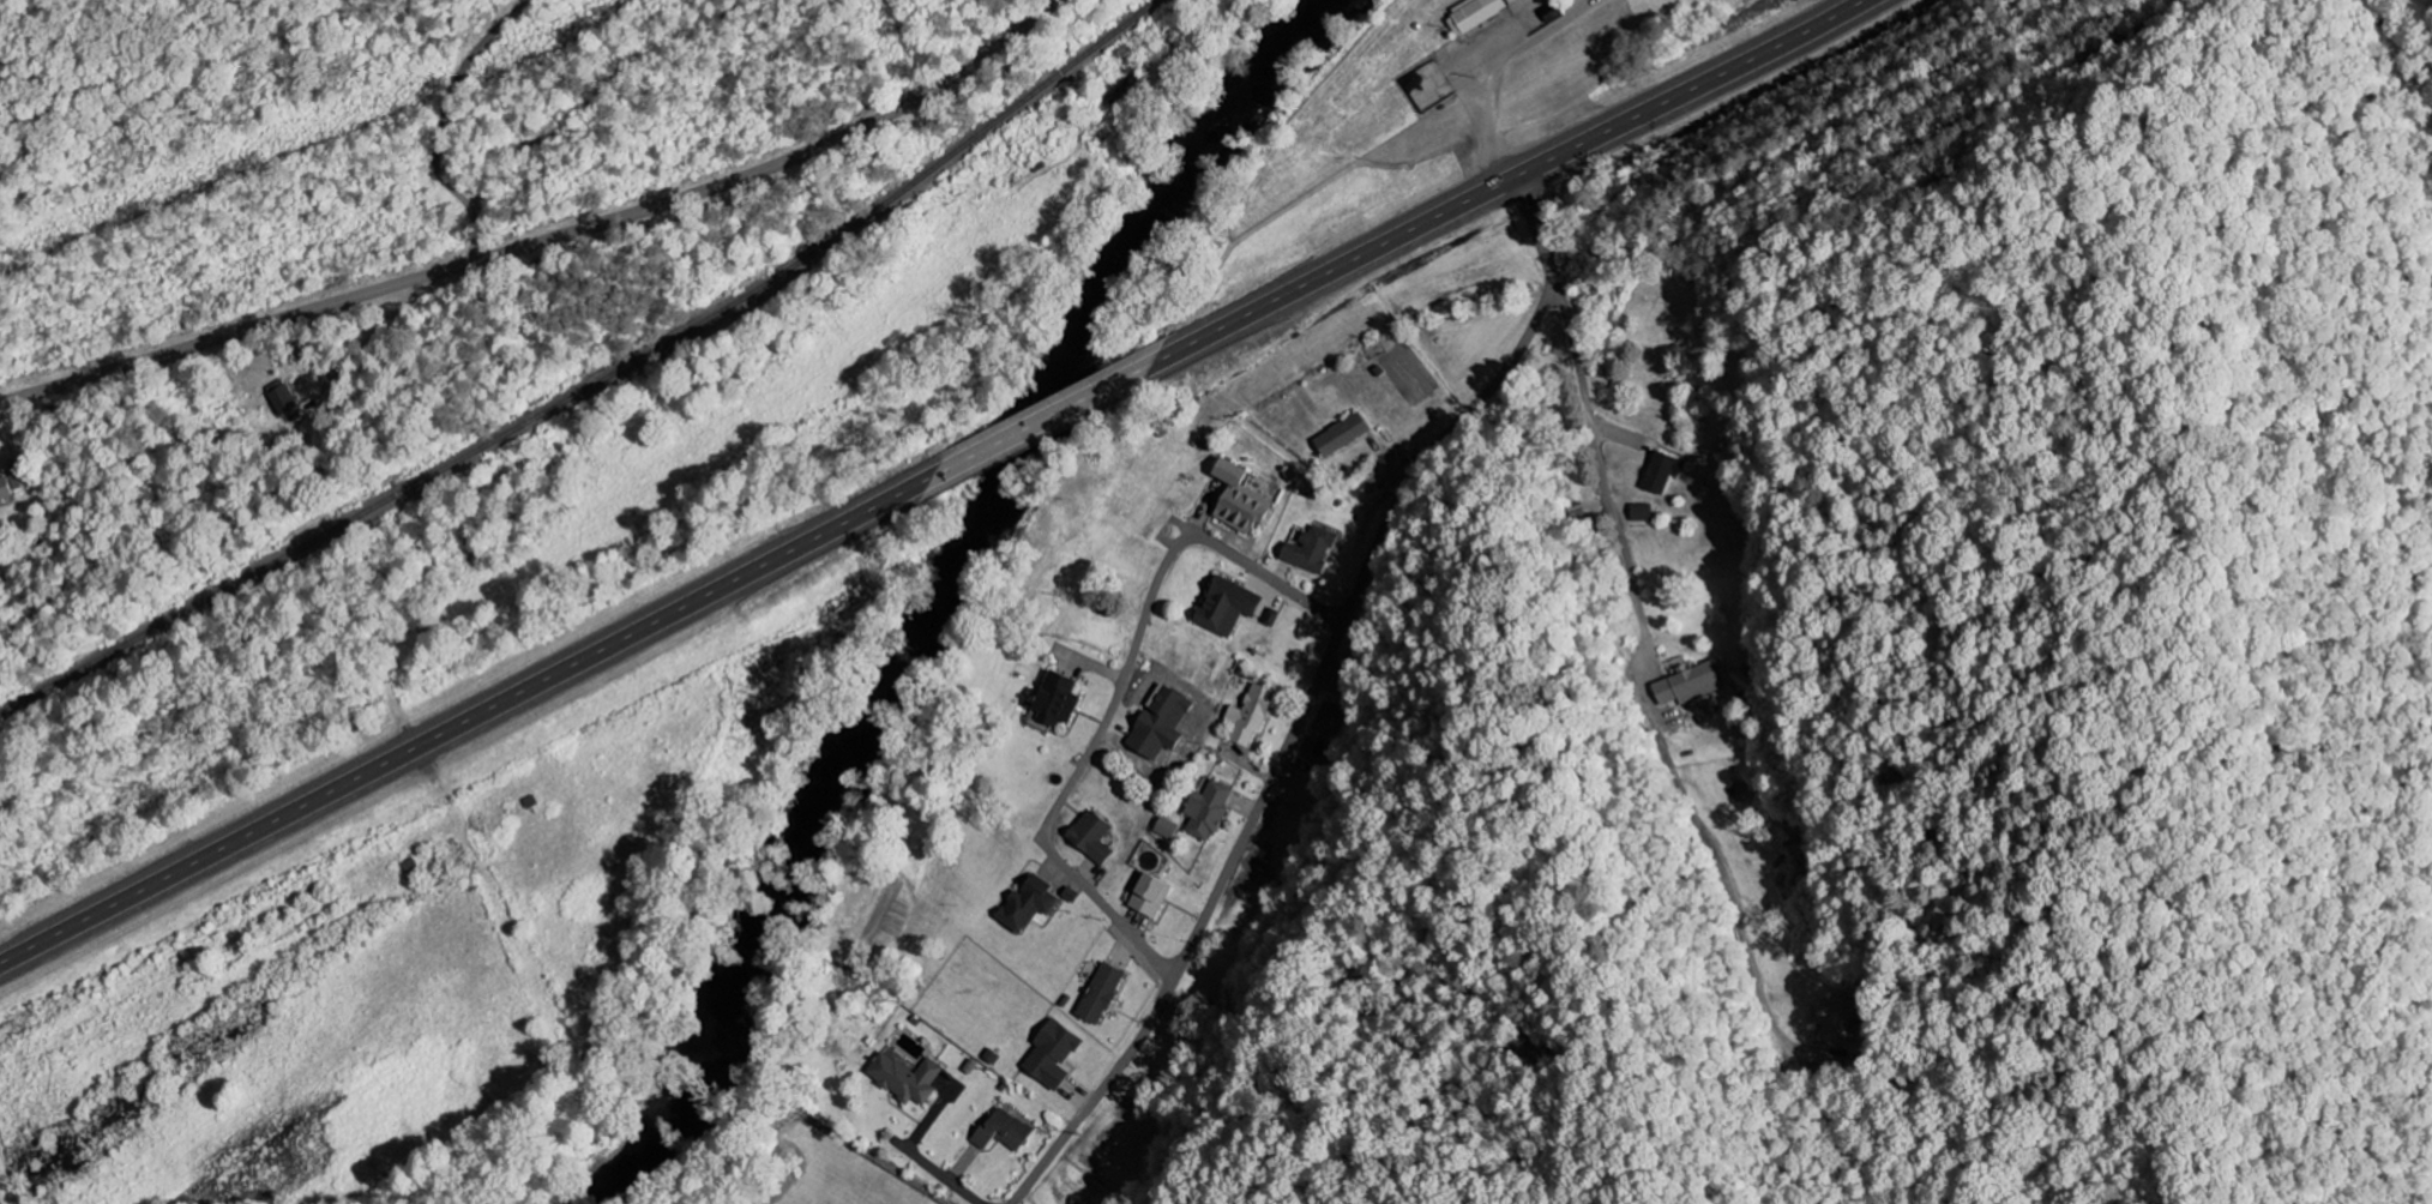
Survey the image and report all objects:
building: (1473, 14)
road: (1489, 118)
road: (1506, 180)
road: (548, 239)
railway: (595, 383)
building: (282, 397)
road: (1048, 417)
building: (1341, 435)
building: (1662, 471)
building: (6, 488)
building: (1241, 499)
building: (1642, 512)
building: (1310, 549)
river: (929, 586)
building: (1228, 607)
road: (1661, 649)
building: (1690, 685)
road: (1310, 693)
road: (1116, 696)
building: (1058, 700)
building: (1250, 716)
road: (470, 718)
building: (1161, 723)
building: (1208, 811)
building: (1167, 829)
building: (1092, 836)
building: (1150, 896)
building: (1029, 904)
building: (1102, 994)
building: (1834, 1018)
building: (1053, 1054)
building: (905, 1078)
building: (1004, 1131)
road: (940, 1173)

